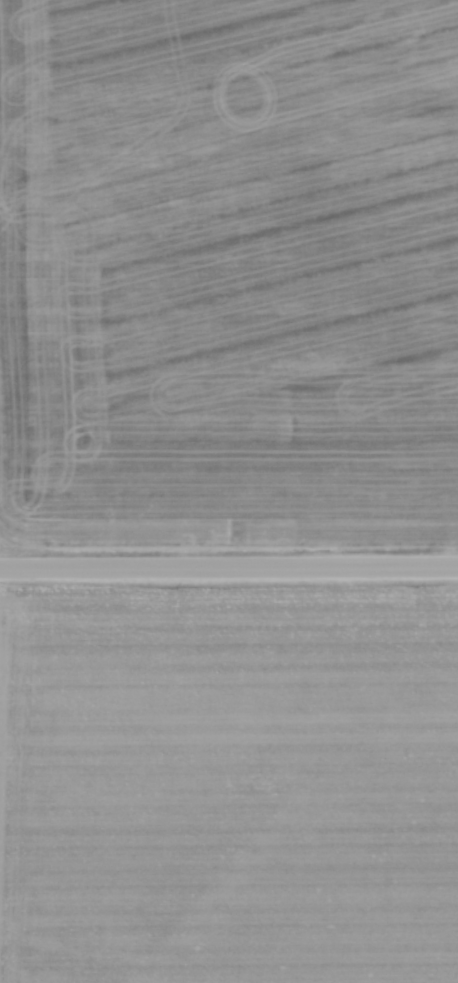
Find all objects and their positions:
road: (229, 570)

